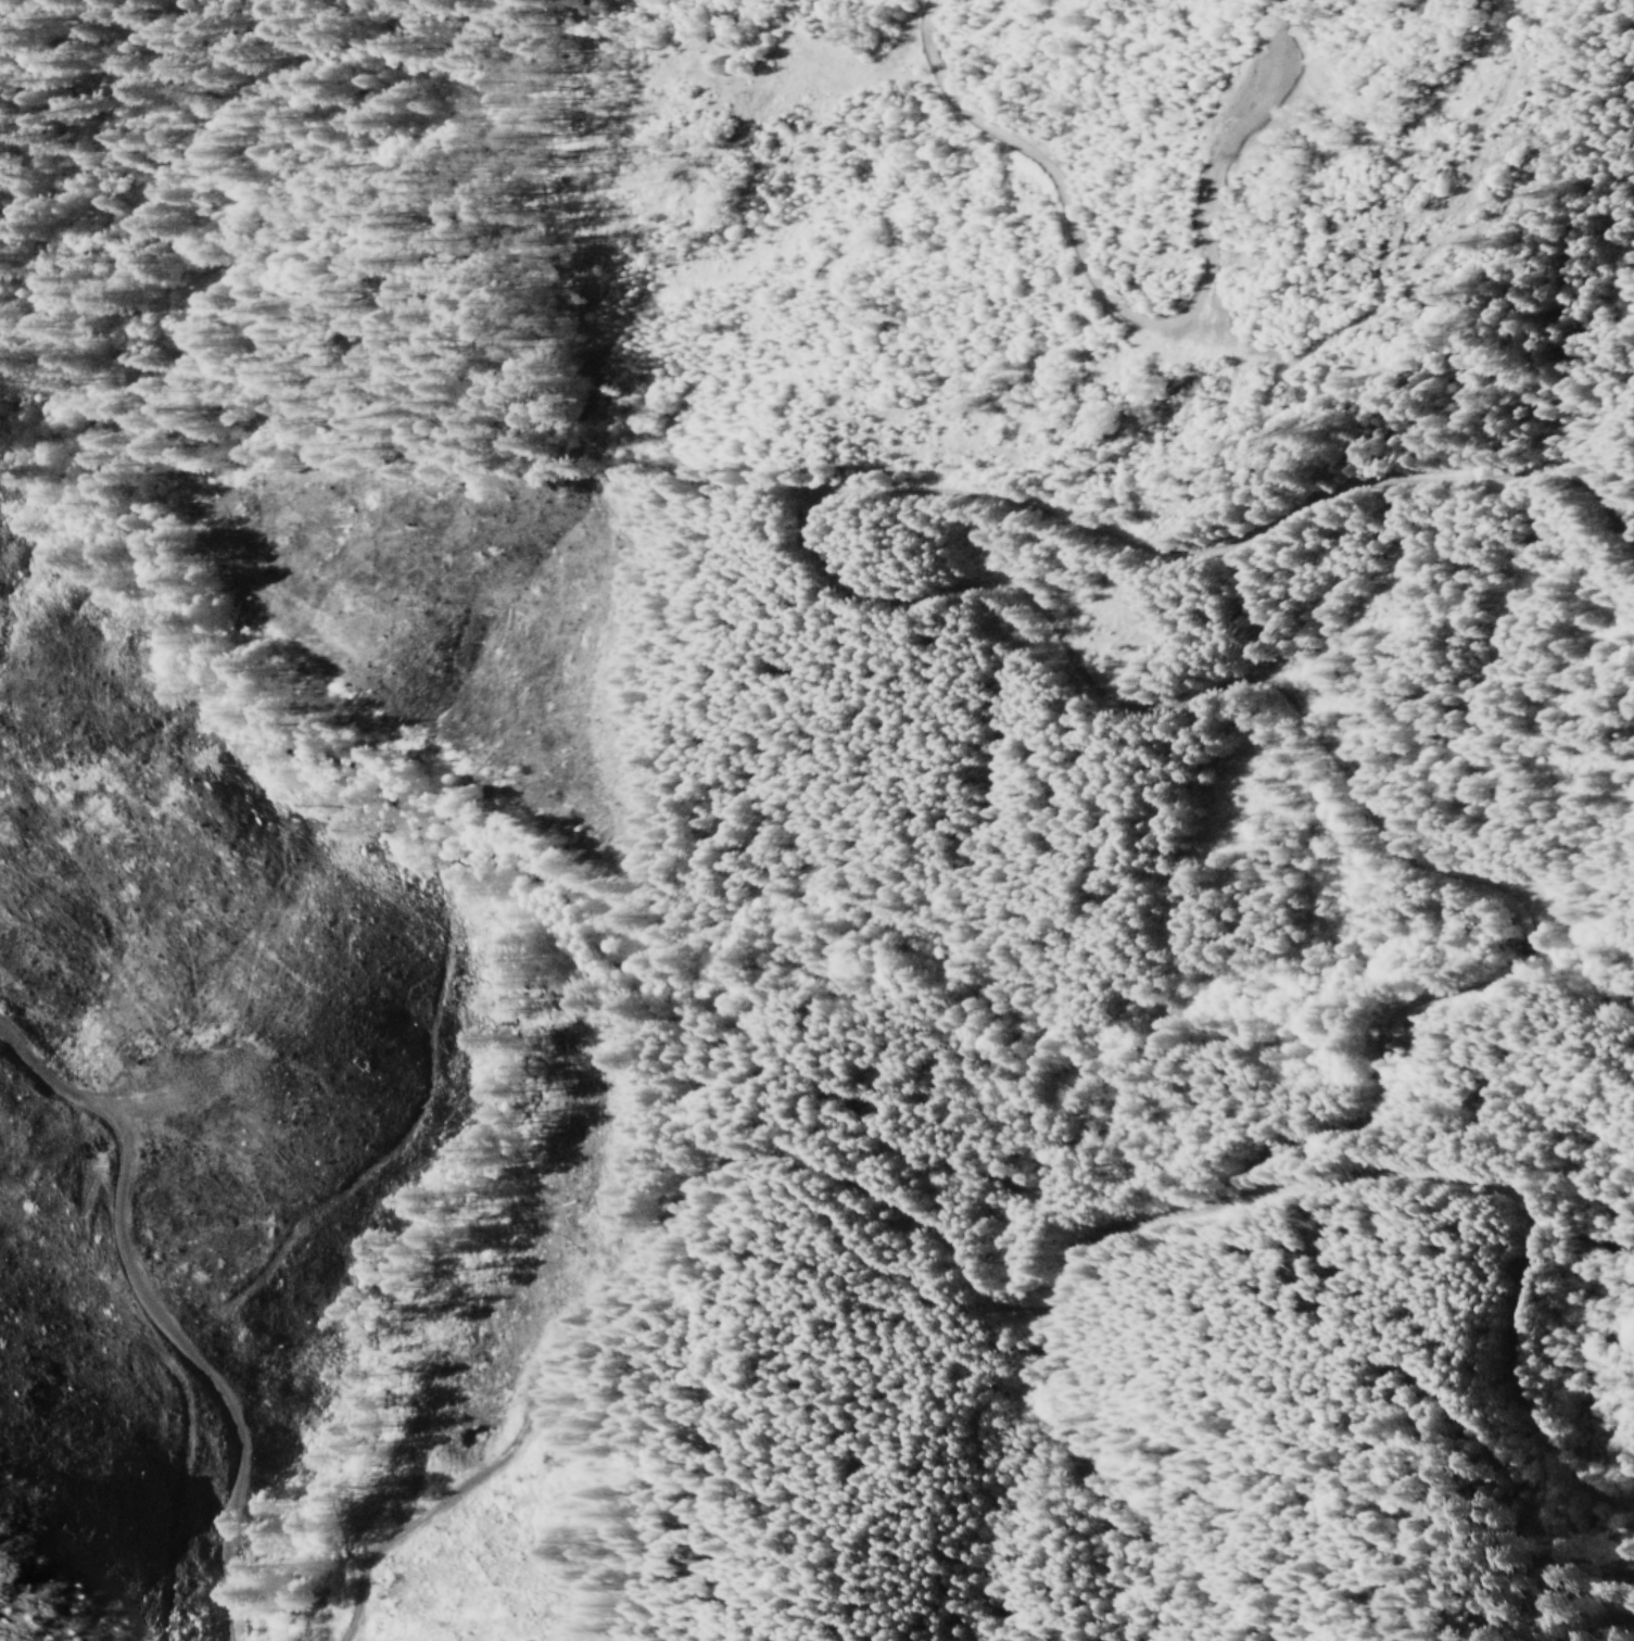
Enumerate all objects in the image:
road: (1009, 594)
road: (700, 1173)
road: (1528, 1226)
road: (151, 1327)

